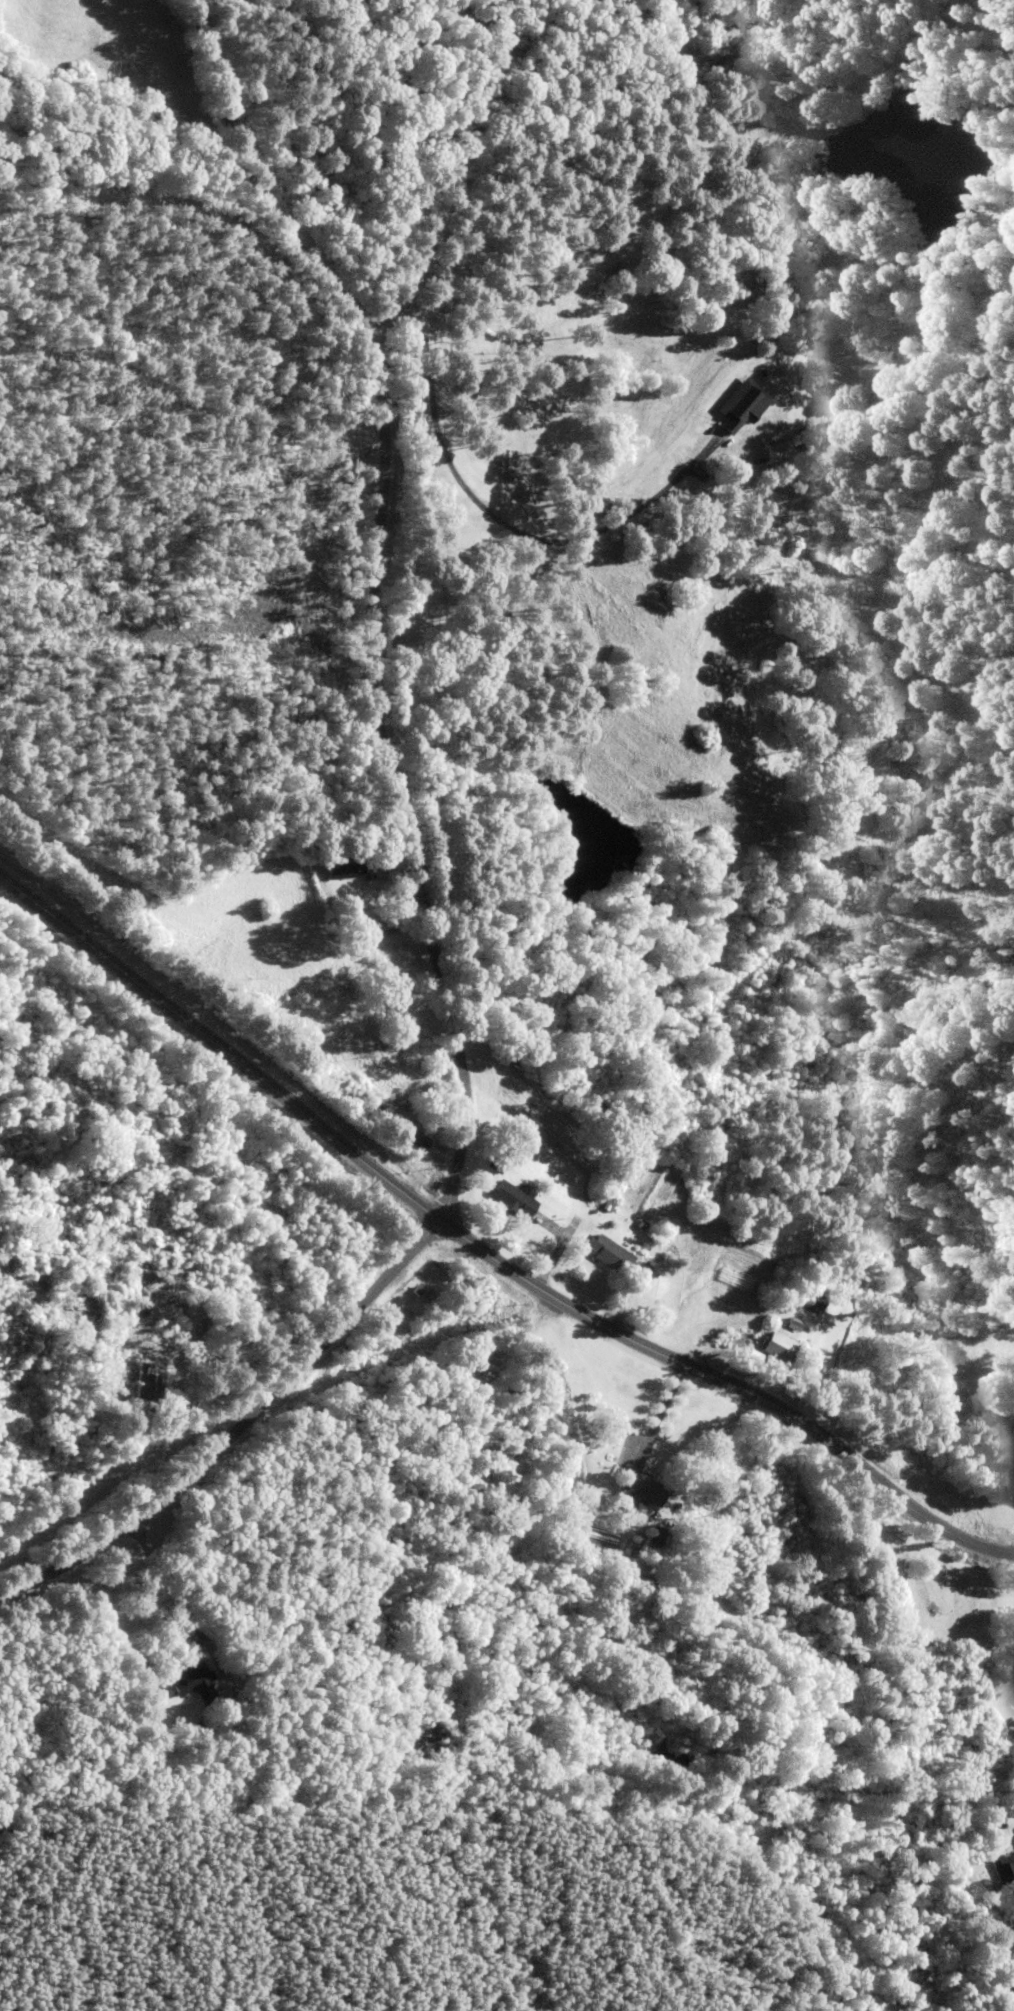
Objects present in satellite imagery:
road: (557, 119)
building: (737, 407)
building: (777, 452)
building: (341, 868)
road: (421, 870)
building: (414, 1139)
building: (508, 1200)
road: (482, 1236)
building: (604, 1254)
building: (808, 1303)
building: (175, 1313)
building: (786, 1324)
building: (770, 1347)
building: (144, 1386)
building: (637, 1492)
building: (658, 1537)
building: (189, 1681)
building: (1005, 1874)

